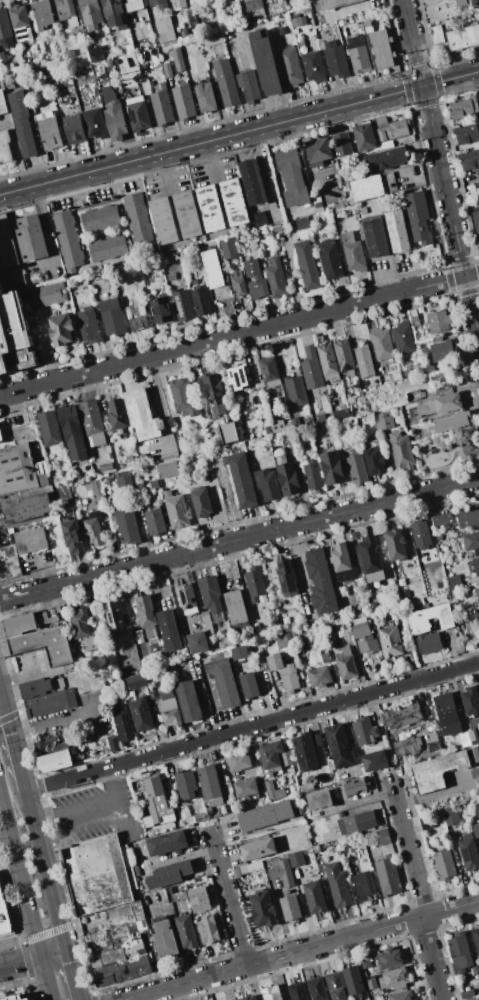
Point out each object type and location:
building: (159, 3)
building: (335, 3)
building: (178, 4)
building: (468, 4)
building: (133, 6)
building: (254, 7)
building: (64, 9)
building: (114, 13)
building: (43, 14)
building: (90, 14)
building: (192, 20)
building: (20, 22)
building: (299, 22)
building: (339, 23)
building: (367, 23)
building: (5, 30)
building: (157, 30)
building: (344, 30)
building: (436, 35)
building: (463, 37)
building: (212, 39)
building: (301, 43)
building: (381, 49)
building: (70, 53)
building: (94, 53)
building: (358, 54)
building: (2, 58)
building: (178, 59)
building: (335, 59)
building: (189, 62)
building: (266, 63)
building: (313, 66)
building: (290, 67)
building: (167, 70)
building: (226, 82)
building: (247, 84)
traffic signals: (422, 86)
building: (478, 95)
building: (205, 97)
building: (184, 102)
building: (3, 103)
building: (463, 107)
building: (162, 108)
building: (113, 113)
building: (138, 113)
building: (94, 123)
building: (22, 124)
building: (48, 128)
building: (390, 128)
building: (74, 129)
road: (239, 133)
building: (466, 134)
building: (364, 137)
building: (342, 145)
building: (5, 147)
building: (318, 150)
road: (16, 153)
road: (209, 159)
building: (385, 159)
building: (469, 160)
road: (441, 170)
road: (165, 171)
building: (291, 176)
building: (478, 176)
building: (252, 182)
building: (372, 186)
building: (233, 201)
building: (209, 208)
building: (186, 214)
building: (418, 217)
building: (100, 218)
building: (257, 218)
building: (138, 220)
building: (163, 221)
building: (476, 221)
building: (397, 231)
building: (375, 237)
building: (31, 238)
building: (67, 241)
building: (6, 244)
building: (228, 248)
building: (107, 249)
building: (353, 253)
building: (330, 259)
building: (306, 265)
building: (212, 268)
building: (276, 278)
building: (18, 279)
building: (238, 283)
building: (258, 287)
building: (46, 295)
building: (201, 301)
building: (183, 305)
building: (161, 310)
building: (112, 317)
building: (136, 317)
building: (412, 317)
building: (439, 321)
building: (88, 325)
building: (61, 330)
building: (14, 335)
road: (239, 335)
building: (403, 338)
building: (381, 344)
building: (442, 350)
building: (344, 357)
building: (328, 361)
building: (364, 361)
building: (428, 367)
building: (311, 368)
building: (269, 371)
building: (407, 371)
building: (237, 377)
building: (437, 377)
building: (295, 391)
building: (213, 394)
building: (413, 395)
building: (182, 397)
road: (162, 404)
building: (441, 404)
building: (141, 414)
building: (341, 414)
building: (117, 416)
building: (321, 418)
building: (383, 420)
building: (294, 421)
building: (92, 422)
building: (450, 422)
building: (277, 426)
building: (49, 430)
building: (72, 432)
building: (228, 432)
building: (286, 437)
building: (1, 438)
park: (445, 450)
building: (402, 453)
building: (374, 460)
building: (18, 466)
building: (105, 467)
building: (332, 467)
building: (166, 469)
building: (357, 469)
building: (312, 475)
building: (287, 476)
building: (65, 477)
building: (125, 480)
building: (240, 481)
building: (268, 484)
building: (98, 492)
building: (152, 502)
building: (201, 502)
building: (25, 508)
building: (177, 511)
building: (468, 517)
building: (442, 520)
building: (154, 522)
building: (81, 524)
building: (126, 527)
building: (93, 529)
building: (421, 535)
building: (72, 536)
road: (239, 539)
building: (30, 540)
building: (471, 542)
building: (395, 544)
building: (371, 559)
building: (343, 562)
building: (9, 563)
road: (232, 565)
building: (476, 565)
building: (286, 578)
building: (321, 581)
building: (453, 582)
building: (254, 583)
building: (477, 594)
road: (119, 595)
building: (211, 597)
building: (188, 598)
building: (235, 607)
building: (145, 612)
building: (95, 613)
building: (114, 617)
building: (429, 619)
building: (207, 622)
building: (19, 624)
building: (82, 627)
building: (168, 630)
building: (347, 634)
building: (364, 635)
building: (301, 637)
building: (197, 642)
building: (391, 642)
building: (429, 642)
building: (44, 644)
building: (239, 653)
building: (260, 661)
building: (346, 663)
building: (284, 672)
building: (319, 677)
building: (137, 681)
building: (223, 682)
building: (248, 684)
building: (35, 688)
road: (1, 696)
road: (1, 700)
traffic signals: (2, 700)
building: (188, 700)
building: (470, 702)
building: (50, 703)
building: (169, 710)
building: (140, 713)
building: (447, 713)
parking lot: (99, 715)
building: (402, 716)
road: (63, 721)
building: (123, 724)
road: (251, 726)
building: (364, 731)
building: (473, 736)
building: (430, 737)
building: (464, 739)
building: (317, 740)
building: (107, 744)
road: (13, 745)
building: (338, 745)
building: (50, 746)
building: (408, 746)
building: (305, 751)
building: (474, 754)
building: (270, 756)
building: (286, 758)
building: (54, 761)
building: (239, 761)
building: (374, 761)
building: (437, 770)
building: (208, 782)
building: (186, 785)
building: (354, 786)
building: (245, 787)
building: (306, 787)
building: (271, 788)
building: (318, 799)
building: (158, 802)
road: (111, 806)
parking lot: (92, 812)
building: (183, 812)
building: (265, 816)
building: (451, 816)
road: (70, 817)
building: (329, 819)
building: (365, 820)
building: (349, 822)
building: (341, 825)
building: (475, 829)
building: (381, 837)
building: (166, 843)
building: (478, 843)
building: (258, 849)
road: (409, 850)
building: (468, 854)
building: (296, 858)
building: (444, 864)
building: (250, 867)
road: (44, 870)
building: (282, 872)
building: (236, 873)
building: (99, 874)
building: (169, 875)
building: (387, 876)
building: (363, 885)
building: (339, 889)
road: (26, 893)
building: (314, 896)
road: (229, 897)
building: (198, 899)
building: (290, 907)
building: (262, 909)
building: (3, 918)
building: (205, 922)
building: (186, 931)
building: (475, 939)
building: (164, 940)
building: (120, 945)
road: (300, 950)
road: (53, 953)
building: (458, 953)
road: (431, 958)
building: (389, 959)
road: (21, 962)
building: (476, 972)
road: (70, 975)
building: (395, 978)
building: (353, 980)
building: (335, 984)
building: (317, 988)
building: (297, 991)
building: (271, 993)
building: (467, 994)
building: (401, 995)
building: (248, 997)
building: (17, 998)
building: (473, 998)
building: (28, 999)

